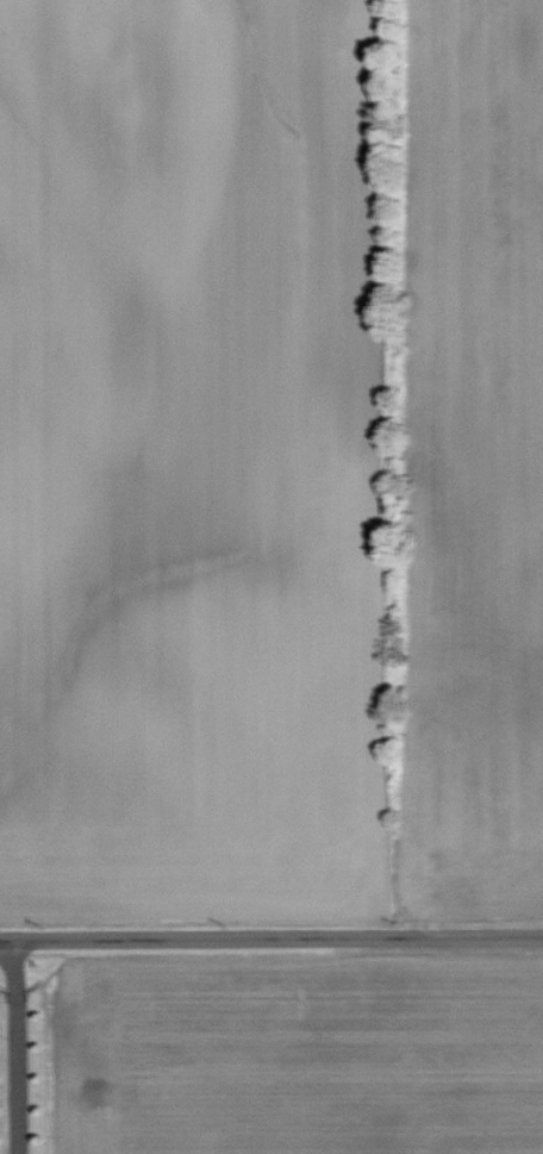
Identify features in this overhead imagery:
road: (279, 937)
road: (7, 940)
road: (14, 1047)

